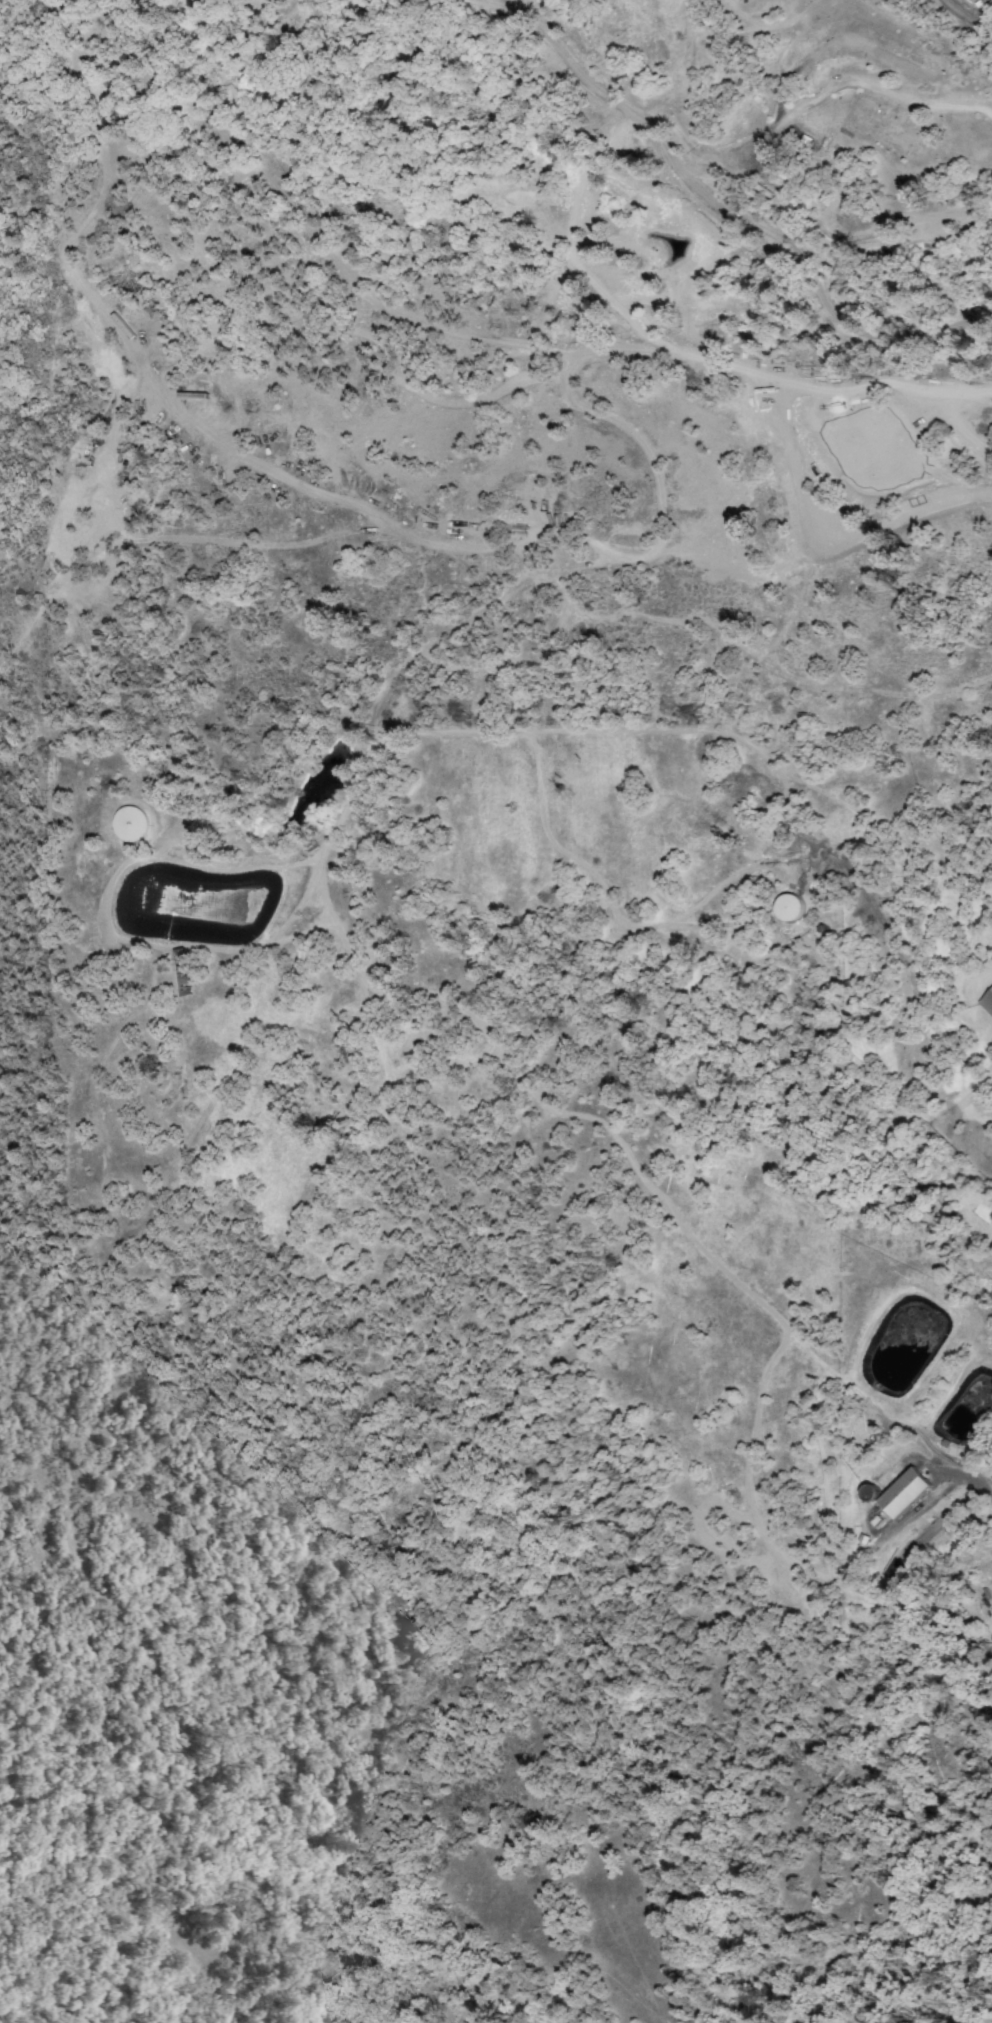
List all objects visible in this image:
building: (808, 140)
building: (766, 191)
road: (795, 372)
building: (964, 420)
building: (880, 433)
building: (790, 437)
building: (782, 441)
building: (128, 824)
storage tank: (132, 824)
building: (785, 906)
storage tank: (790, 909)
building: (183, 968)
building: (988, 1002)
building: (907, 1493)

